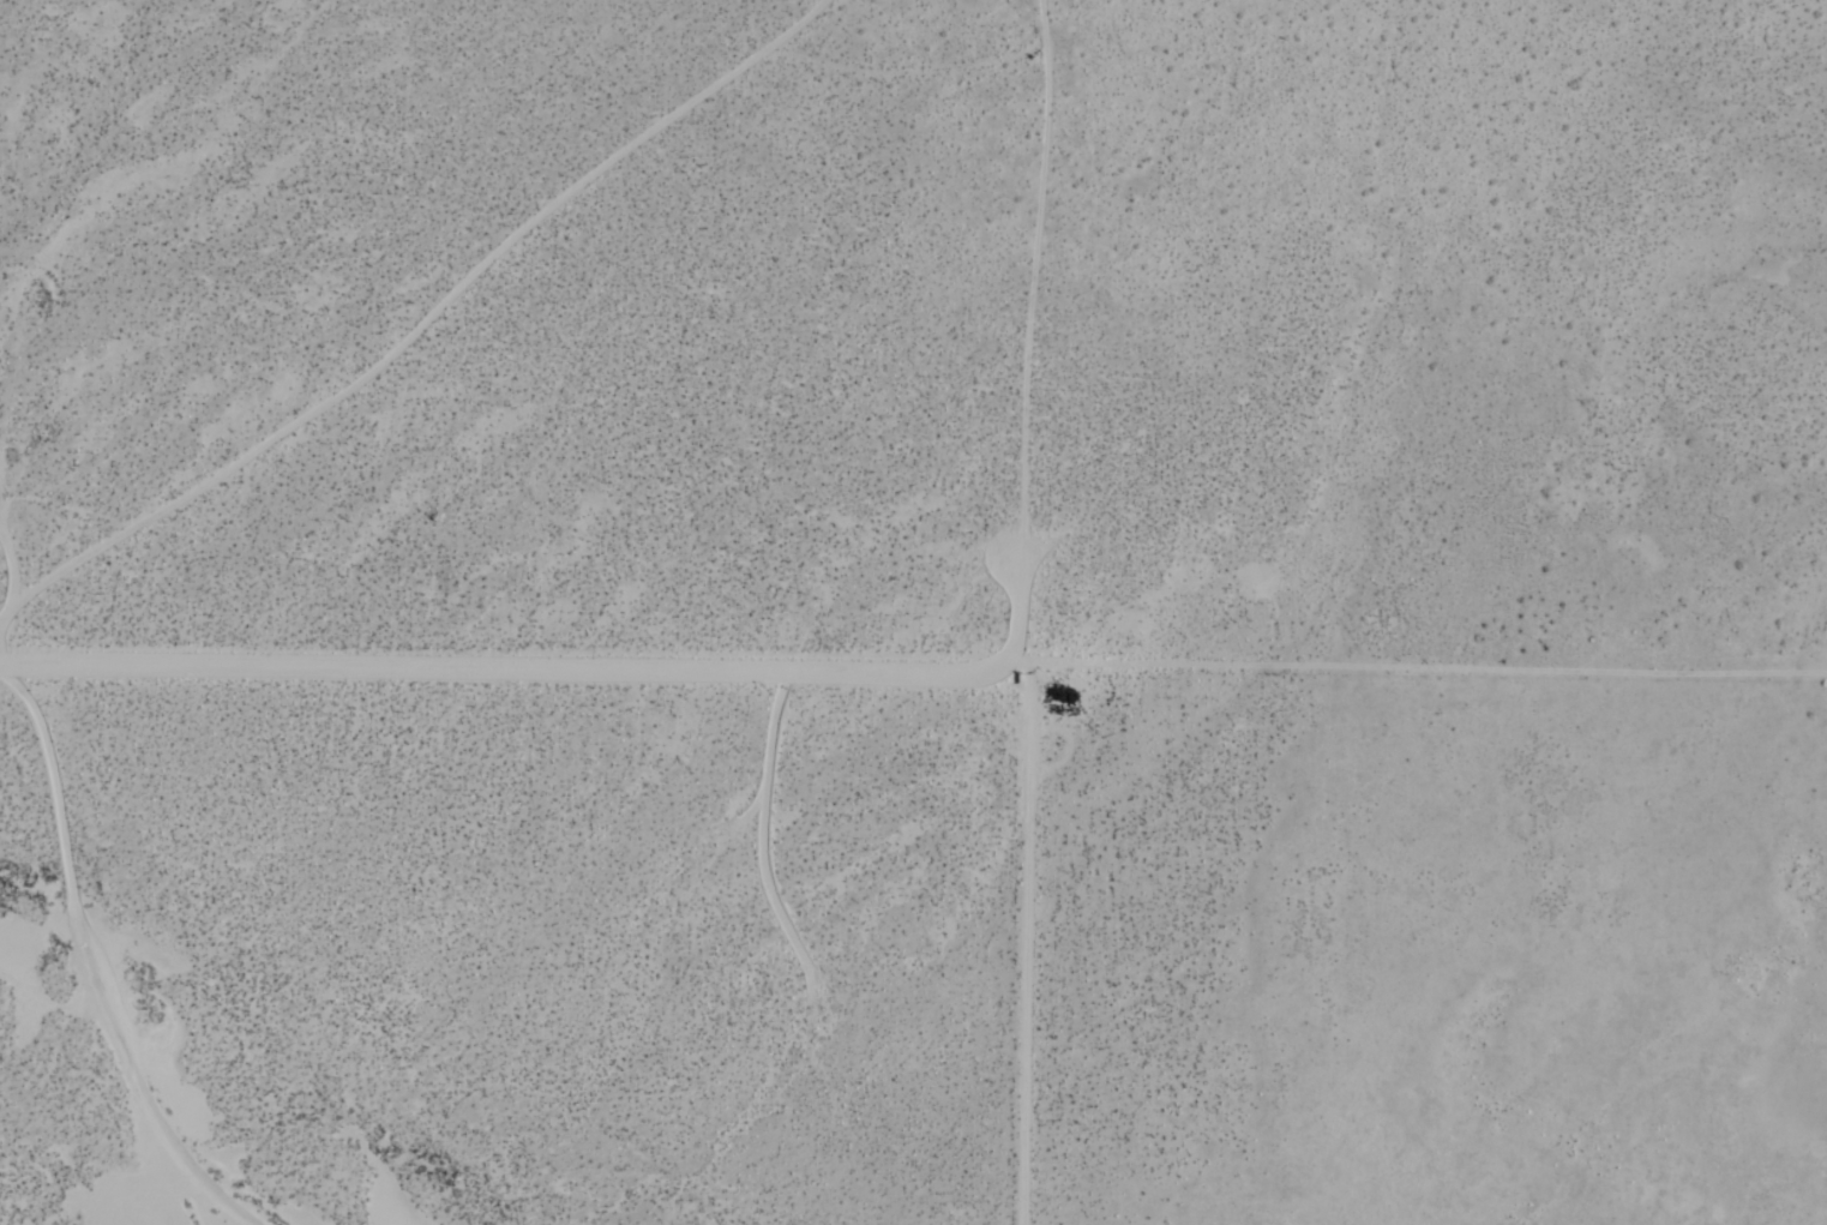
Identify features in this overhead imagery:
road: (509, 665)
road: (91, 967)

